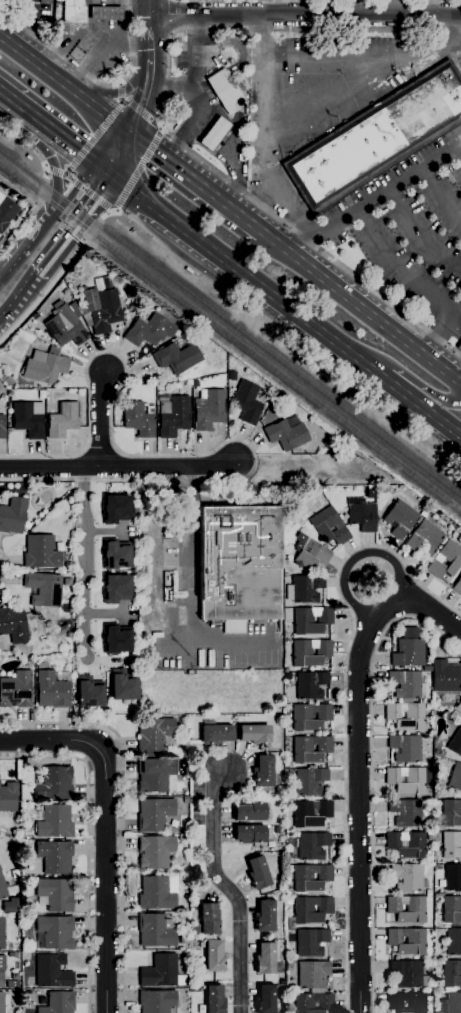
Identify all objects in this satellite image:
building: (44, 1)
building: (73, 11)
gas station: (73, 11)
building: (105, 13)
road: (303, 15)
road: (86, 18)
road: (126, 21)
road: (30, 25)
road: (148, 27)
road: (80, 29)
road: (27, 30)
road: (449, 30)
road: (139, 42)
road: (74, 54)
road: (108, 54)
road: (335, 56)
road: (81, 73)
road: (65, 75)
road: (104, 83)
road: (361, 86)
road: (127, 88)
road: (193, 89)
road: (121, 90)
road: (145, 90)
road: (169, 90)
building: (227, 90)
road: (306, 93)
road: (15, 104)
road: (143, 115)
road: (265, 117)
road: (161, 122)
traffic signals: (132, 123)
building: (214, 134)
gas station: (214, 134)
road: (59, 136)
road: (94, 137)
building: (377, 138)
road: (109, 140)
road: (123, 150)
road: (458, 152)
road: (51, 158)
traffic signals: (87, 158)
road: (41, 161)
road: (100, 167)
road: (54, 171)
road: (140, 171)
road: (198, 175)
traffic signals: (114, 177)
road: (71, 182)
road: (90, 193)
road: (440, 196)
road: (374, 198)
road: (96, 201)
road: (290, 206)
building: (6, 212)
road: (28, 214)
parking lot: (409, 228)
road: (152, 235)
road: (419, 235)
road: (27, 240)
road: (58, 249)
road: (399, 267)
road: (54, 280)
road: (28, 288)
road: (363, 299)
building: (102, 305)
building: (130, 308)
road: (287, 309)
road: (8, 310)
railway: (229, 326)
building: (65, 327)
road: (445, 327)
building: (149, 330)
railway: (229, 337)
building: (6, 346)
building: (459, 347)
building: (176, 357)
building: (45, 366)
road: (399, 371)
building: (8, 381)
building: (195, 384)
building: (162, 398)
building: (246, 403)
building: (208, 409)
building: (173, 416)
road: (101, 417)
building: (28, 419)
building: (62, 420)
building: (138, 420)
building: (2, 427)
building: (286, 435)
road: (135, 455)
road: (117, 467)
building: (114, 508)
building: (12, 515)
building: (362, 517)
building: (400, 519)
building: (27, 526)
building: (329, 526)
road: (106, 531)
building: (424, 537)
road: (191, 551)
building: (41, 552)
building: (312, 555)
building: (115, 556)
road: (359, 556)
building: (445, 560)
road: (85, 562)
building: (285, 563)
building: (67, 565)
building: (239, 566)
road: (8, 569)
building: (285, 574)
building: (457, 587)
building: (114, 588)
building: (306, 588)
building: (43, 589)
road: (428, 608)
road: (106, 613)
building: (311, 620)
building: (13, 624)
road: (367, 632)
building: (116, 641)
building: (309, 652)
building: (408, 653)
building: (27, 659)
building: (40, 665)
building: (444, 679)
building: (310, 685)
building: (405, 685)
building: (124, 687)
building: (16, 690)
building: (52, 691)
building: (89, 693)
building: (458, 707)
road: (344, 708)
building: (405, 716)
building: (310, 717)
building: (182, 724)
building: (214, 733)
building: (254, 734)
building: (154, 735)
building: (455, 742)
building: (405, 748)
building: (310, 749)
building: (437, 752)
road: (358, 762)
building: (263, 771)
road: (372, 774)
building: (155, 775)
building: (455, 777)
building: (406, 780)
building: (310, 781)
building: (54, 785)
building: (8, 797)
building: (251, 812)
road: (122, 813)
building: (310, 813)
building: (405, 813)
building: (451, 813)
building: (154, 814)
building: (425, 818)
building: (53, 822)
road: (105, 830)
building: (249, 834)
building: (430, 836)
building: (181, 838)
road: (87, 843)
building: (406, 844)
building: (310, 846)
building: (451, 846)
building: (155, 852)
building: (54, 856)
building: (257, 873)
building: (310, 877)
building: (407, 877)
building: (452, 877)
building: (2, 889)
road: (229, 889)
building: (428, 893)
building: (54, 894)
building: (155, 894)
building: (438, 894)
building: (28, 901)
building: (407, 909)
building: (308, 911)
building: (451, 911)
building: (264, 916)
building: (207, 921)
building: (155, 930)
building: (55, 932)
building: (2, 933)
building: (183, 941)
building: (406, 941)
building: (310, 942)
building: (453, 942)
building: (202, 945)
building: (11, 954)
building: (214, 955)
building: (266, 960)
building: (289, 965)
building: (2, 970)
building: (52, 971)
building: (161, 972)
building: (408, 974)
building: (452, 974)
building: (15, 975)
building: (312, 975)
building: (12, 984)
building: (214, 999)
building: (265, 999)
building: (156, 1001)
building: (2, 1002)
building: (407, 1002)
building: (58, 1003)
building: (451, 1003)
building: (303, 1006)

